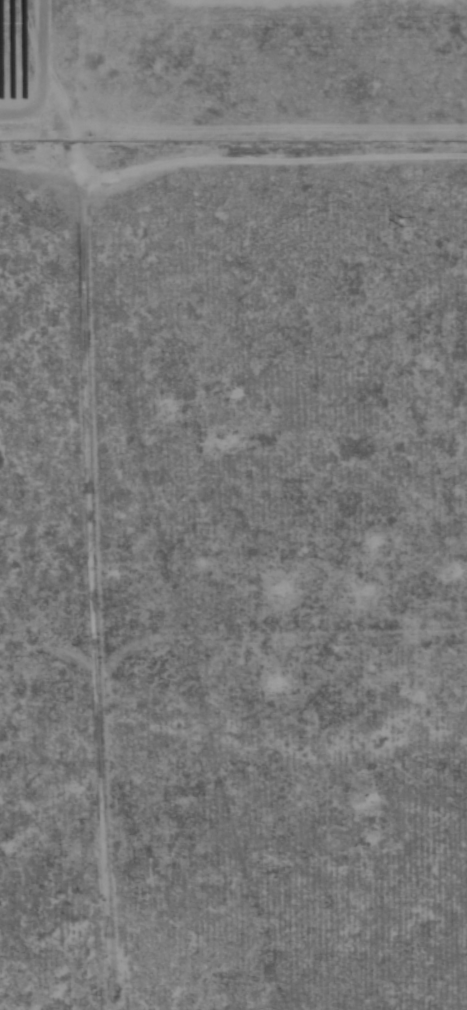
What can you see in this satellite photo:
solar farm: (20, 50)
power tower: (401, 223)

